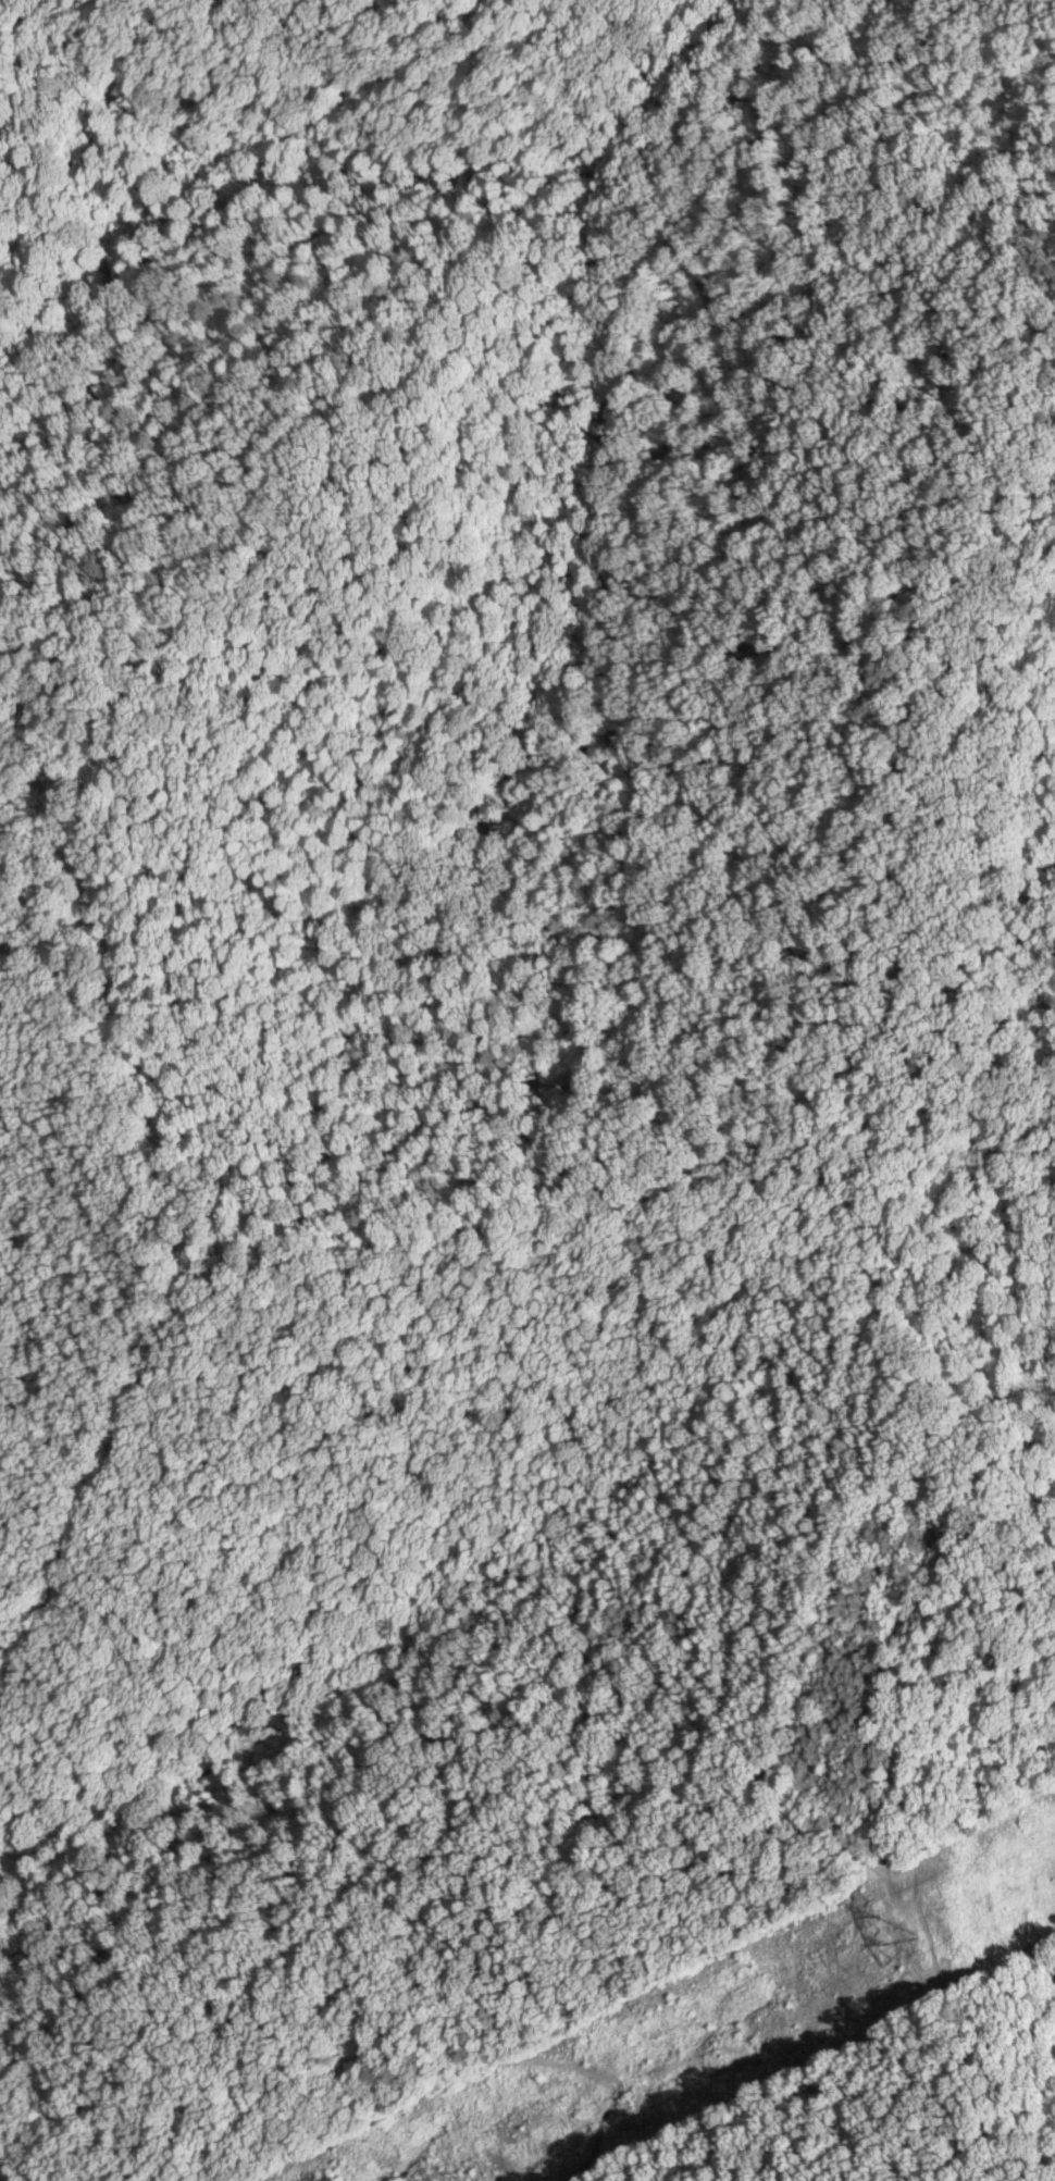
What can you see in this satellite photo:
power tower: (913, 1930)

